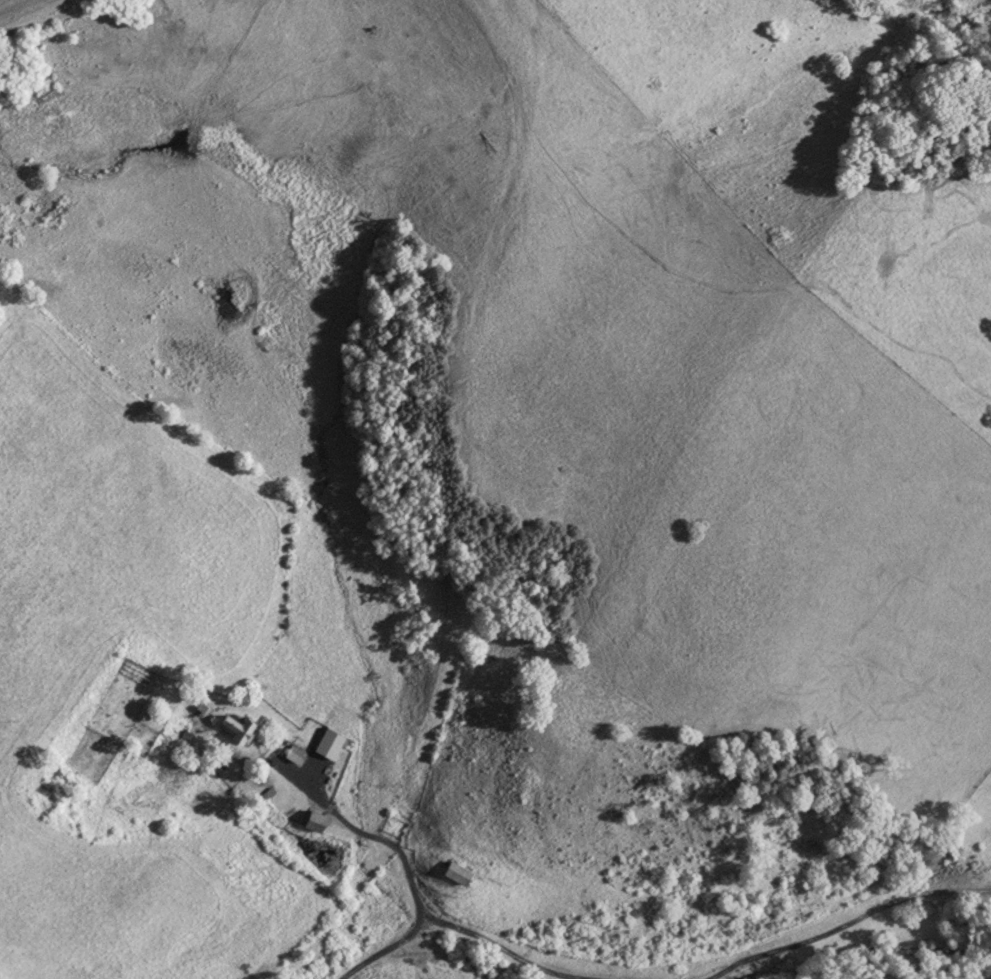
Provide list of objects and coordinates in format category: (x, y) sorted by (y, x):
building: (231, 727)
building: (308, 820)
building: (451, 872)

